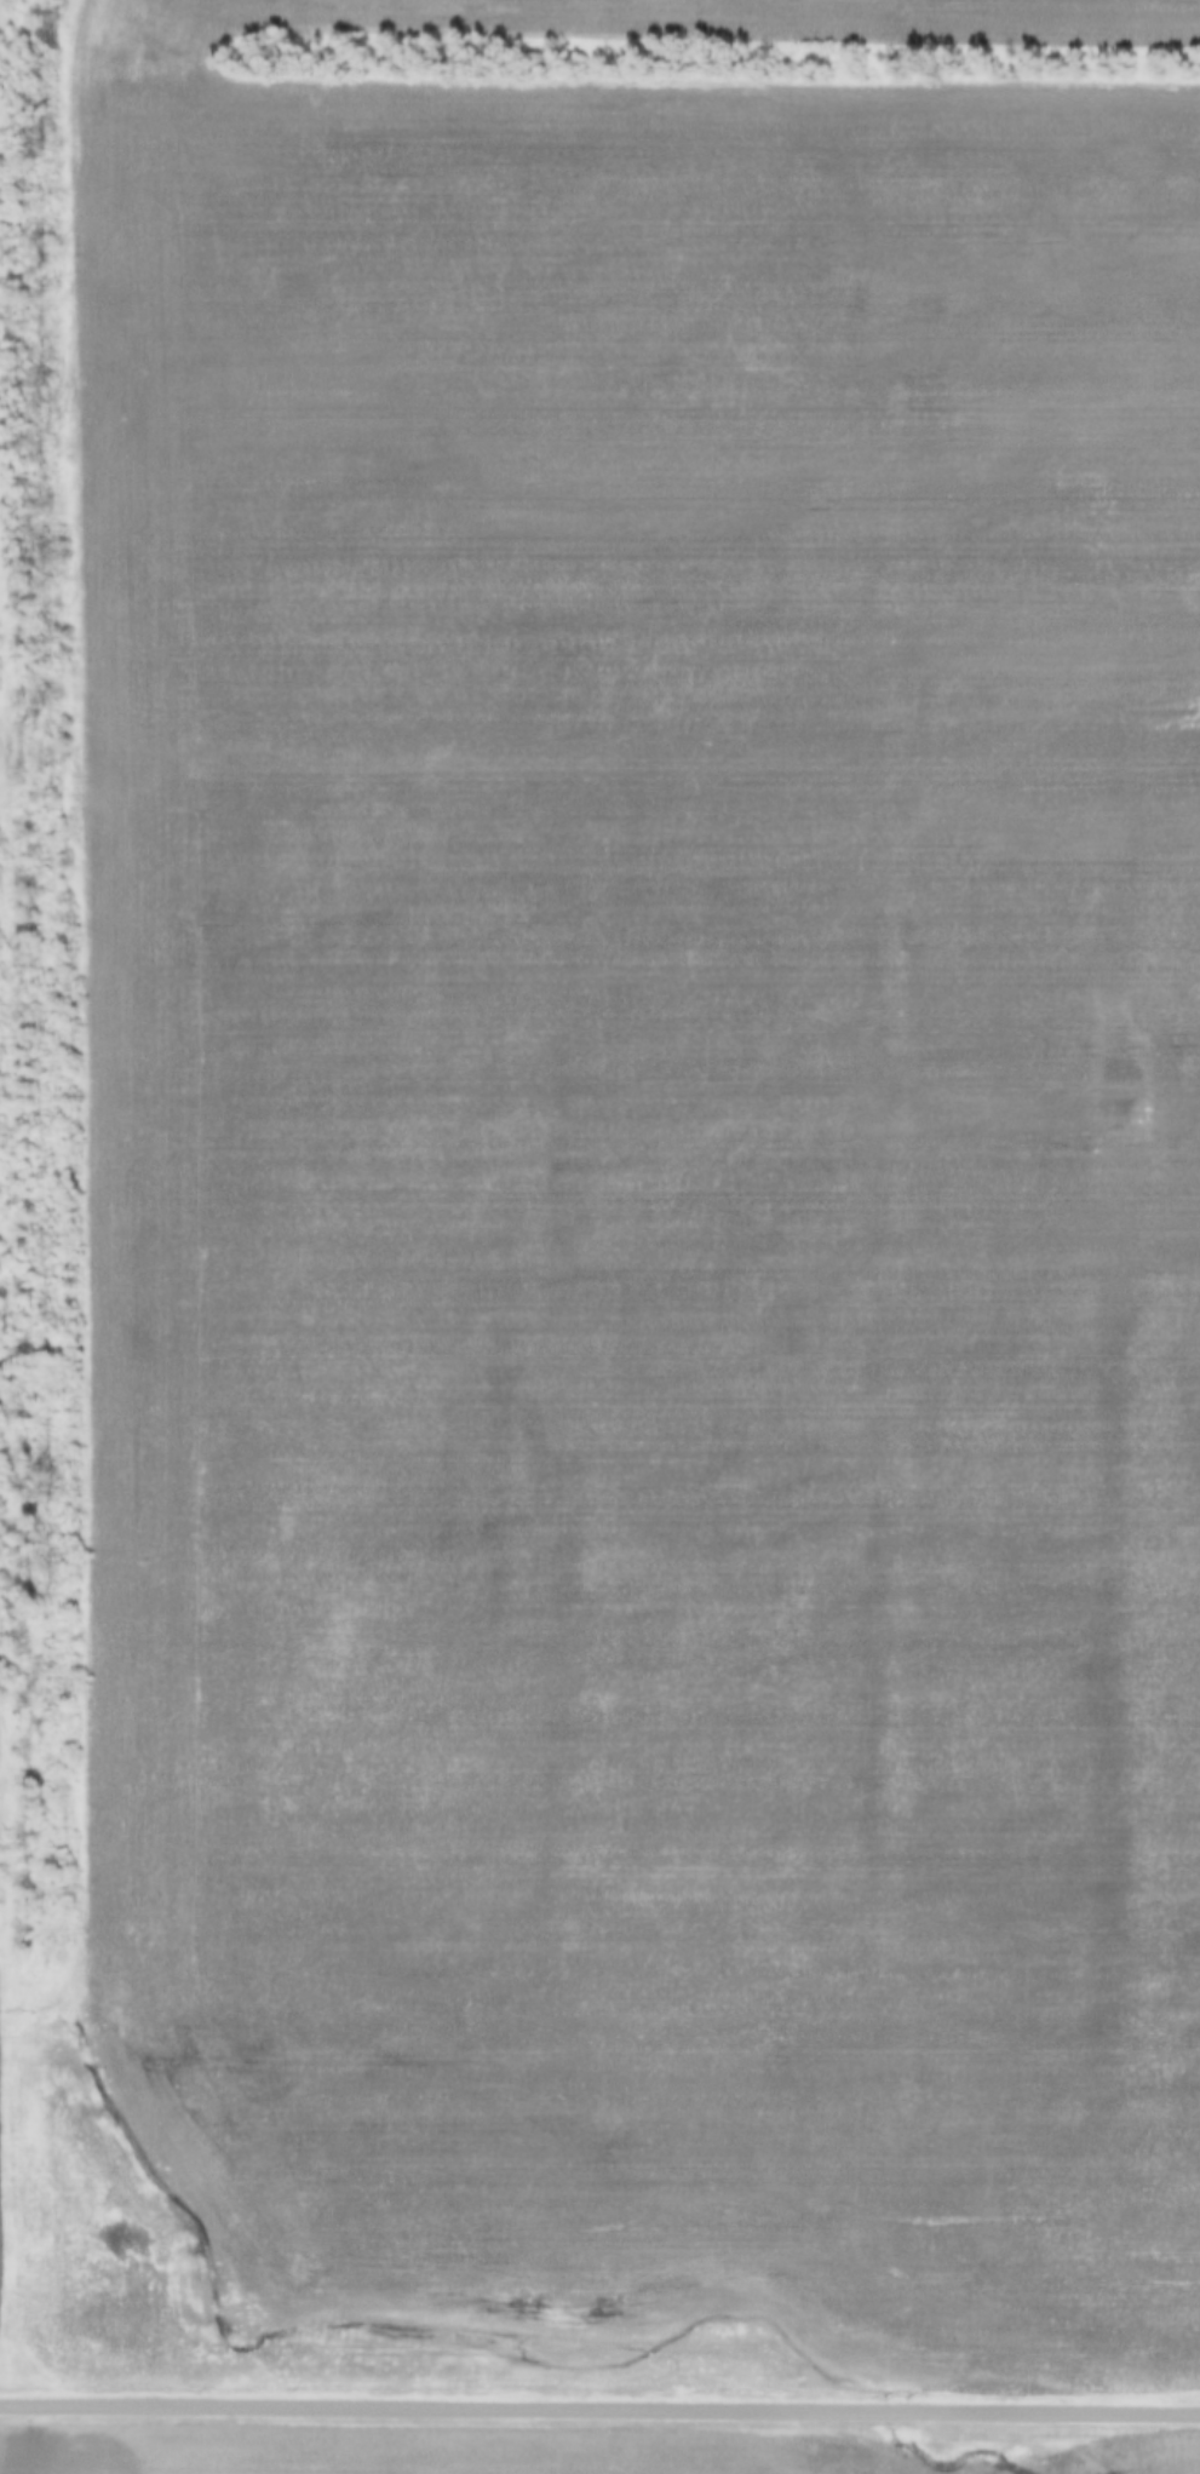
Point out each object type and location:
road: (599, 2410)

